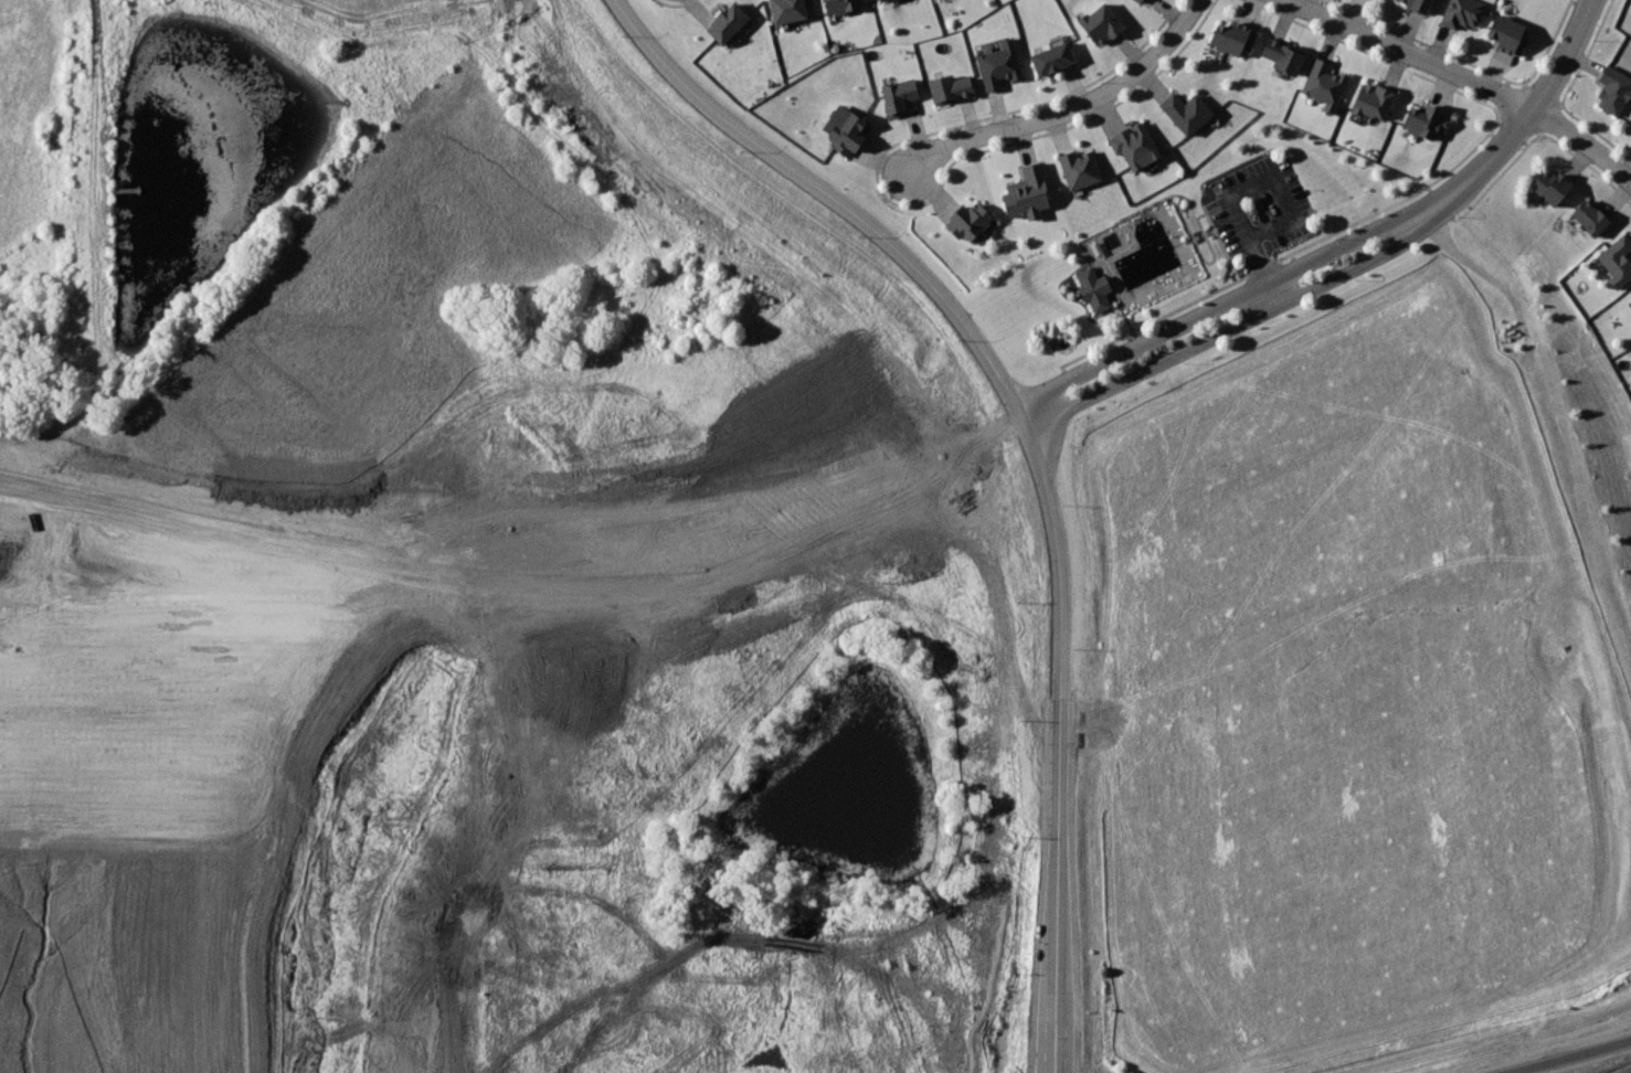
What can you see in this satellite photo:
building: (886, 1)
building: (1138, 1)
building: (1417, 4)
building: (840, 6)
building: (791, 10)
building: (1460, 14)
building: (728, 22)
building: (1101, 22)
building: (1511, 35)
building: (1235, 39)
road: (1408, 54)
building: (1285, 56)
building: (1053, 59)
building: (999, 65)
building: (1324, 83)
building: (950, 89)
building: (1614, 91)
building: (899, 96)
building: (1375, 102)
road: (1068, 110)
building: (1188, 113)
road: (1525, 118)
building: (1427, 120)
building: (848, 131)
road: (1584, 142)
building: (1135, 147)
building: (1081, 169)
building: (1553, 187)
building: (1029, 192)
road: (1283, 196)
parking lot: (1257, 206)
road: (846, 210)
building: (1591, 216)
building: (971, 221)
road: (1253, 252)
road: (1286, 254)
road: (1200, 257)
building: (1618, 259)
road: (1481, 269)
building: (1094, 289)
road: (1212, 309)
road: (1131, 330)
road: (1222, 330)
fountain: (1061, 344)
road: (498, 513)
road: (505, 540)
road: (513, 589)
road: (520, 617)
road: (1071, 767)
road: (1037, 771)
road: (1566, 1056)

